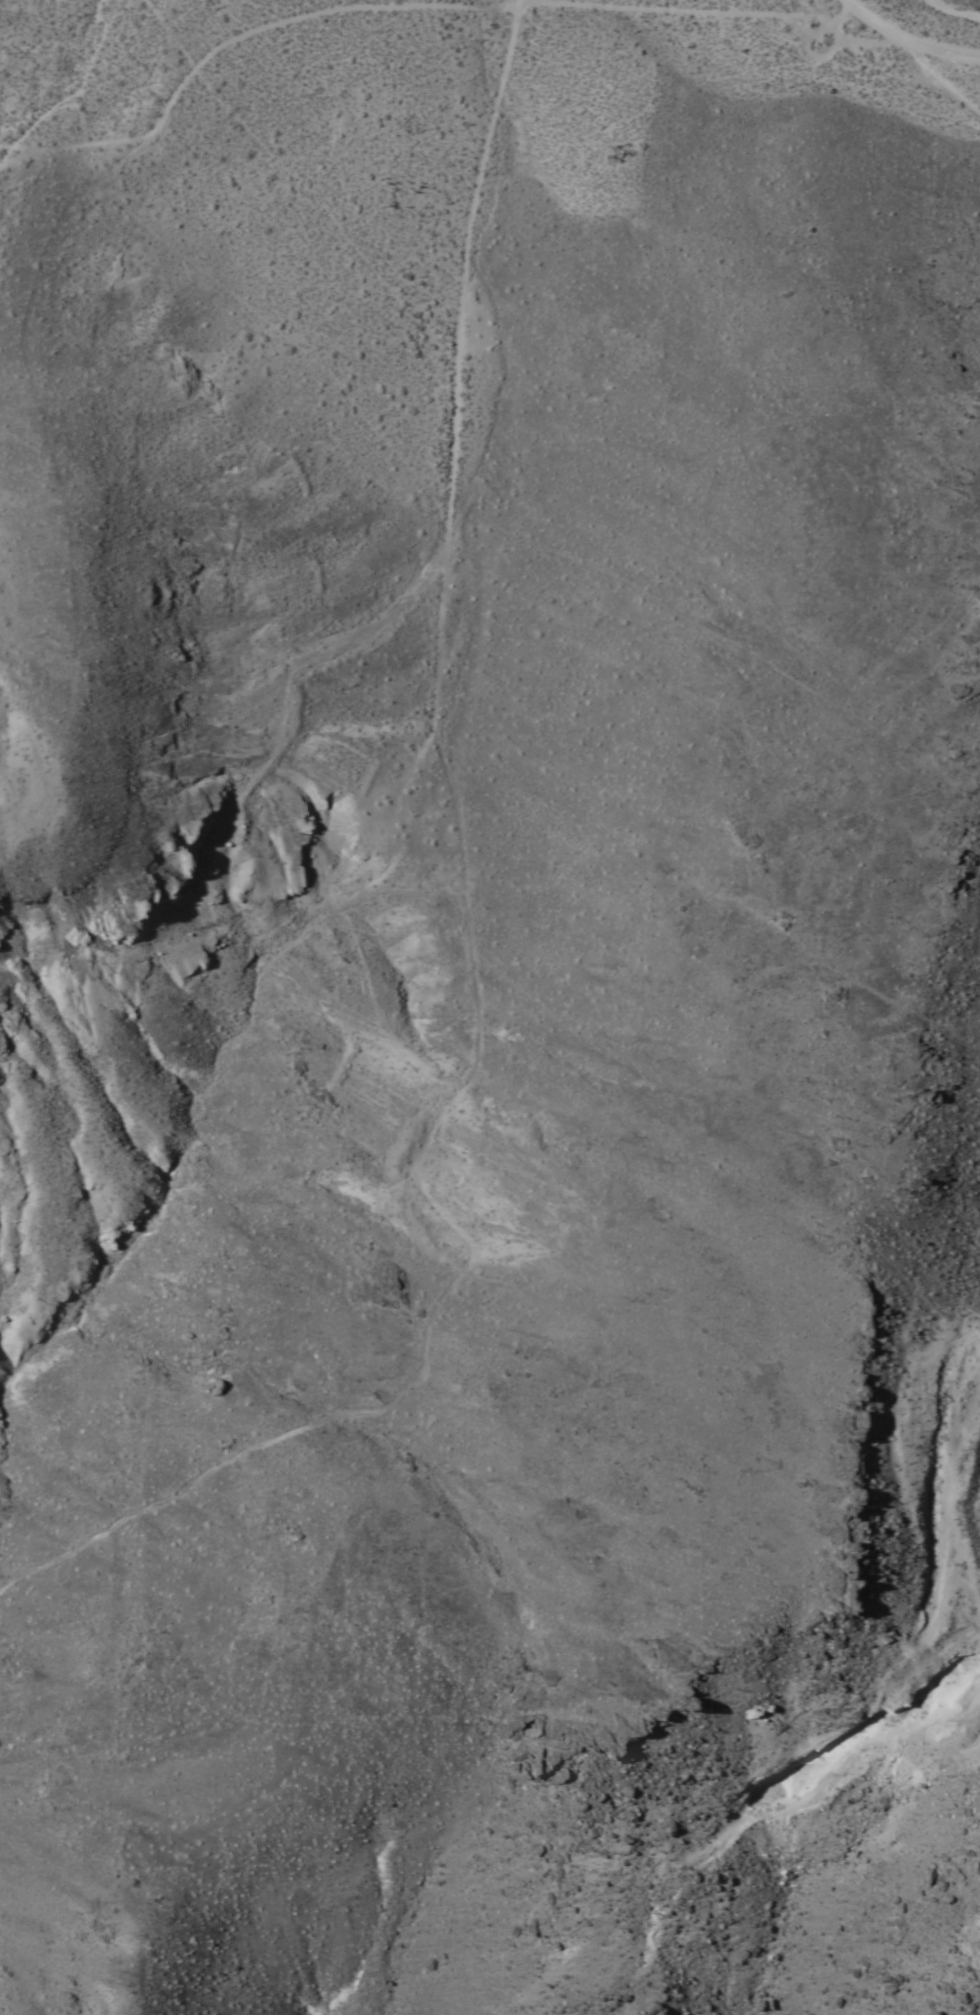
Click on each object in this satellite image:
road: (699, 7)
road: (229, 32)
road: (842, 38)
road: (907, 38)
road: (450, 399)
road: (384, 809)

